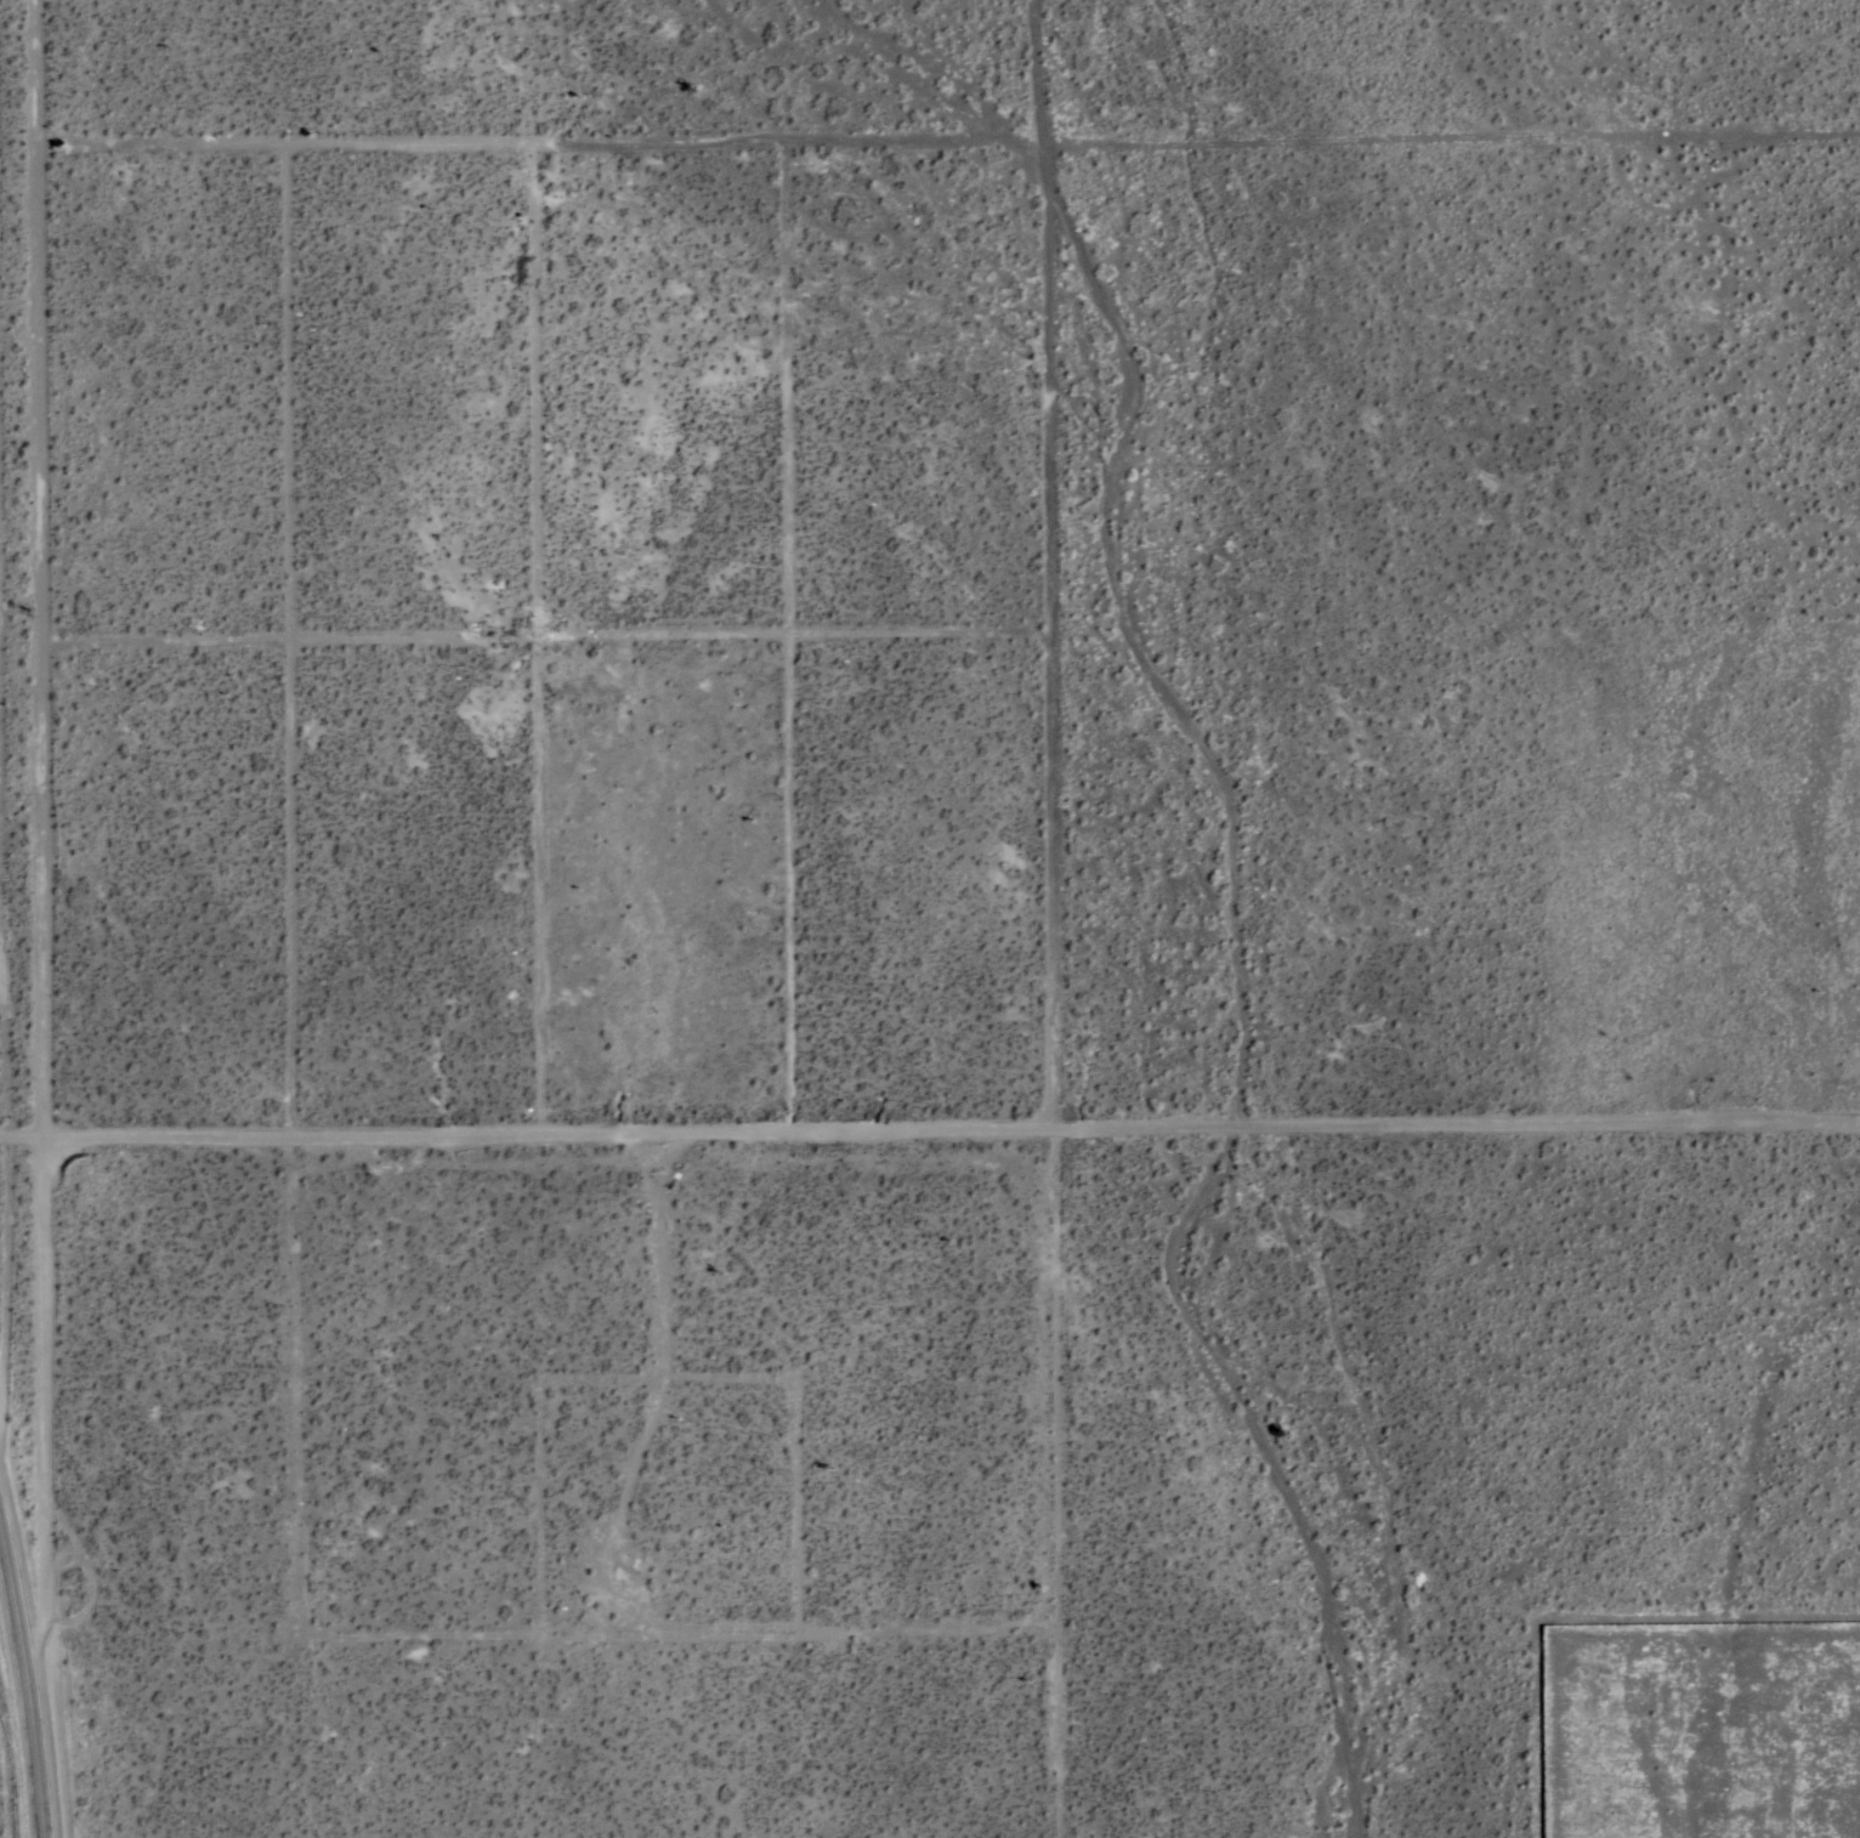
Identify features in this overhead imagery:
road: (1043, 72)
road: (1049, 583)
road: (929, 1146)
road: (29, 1677)

